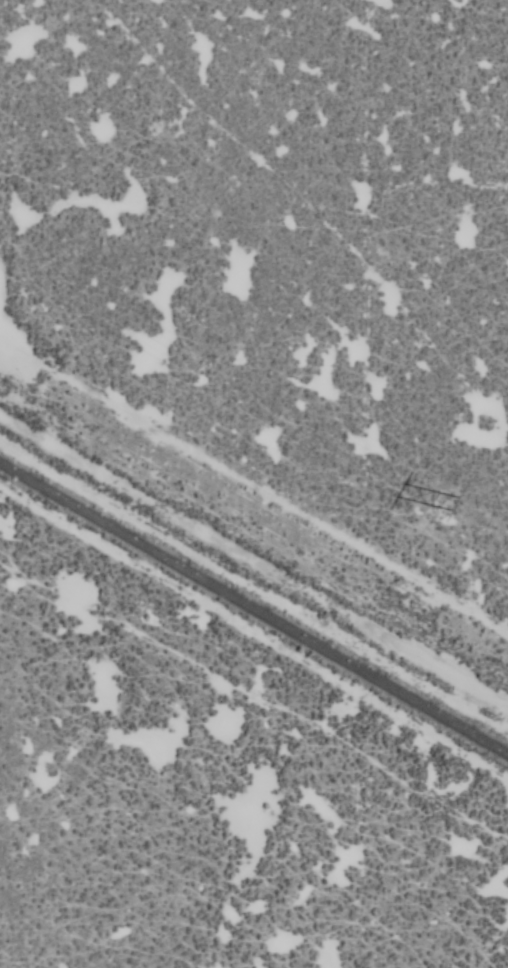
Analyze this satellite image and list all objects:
power tower: (448, 502)

